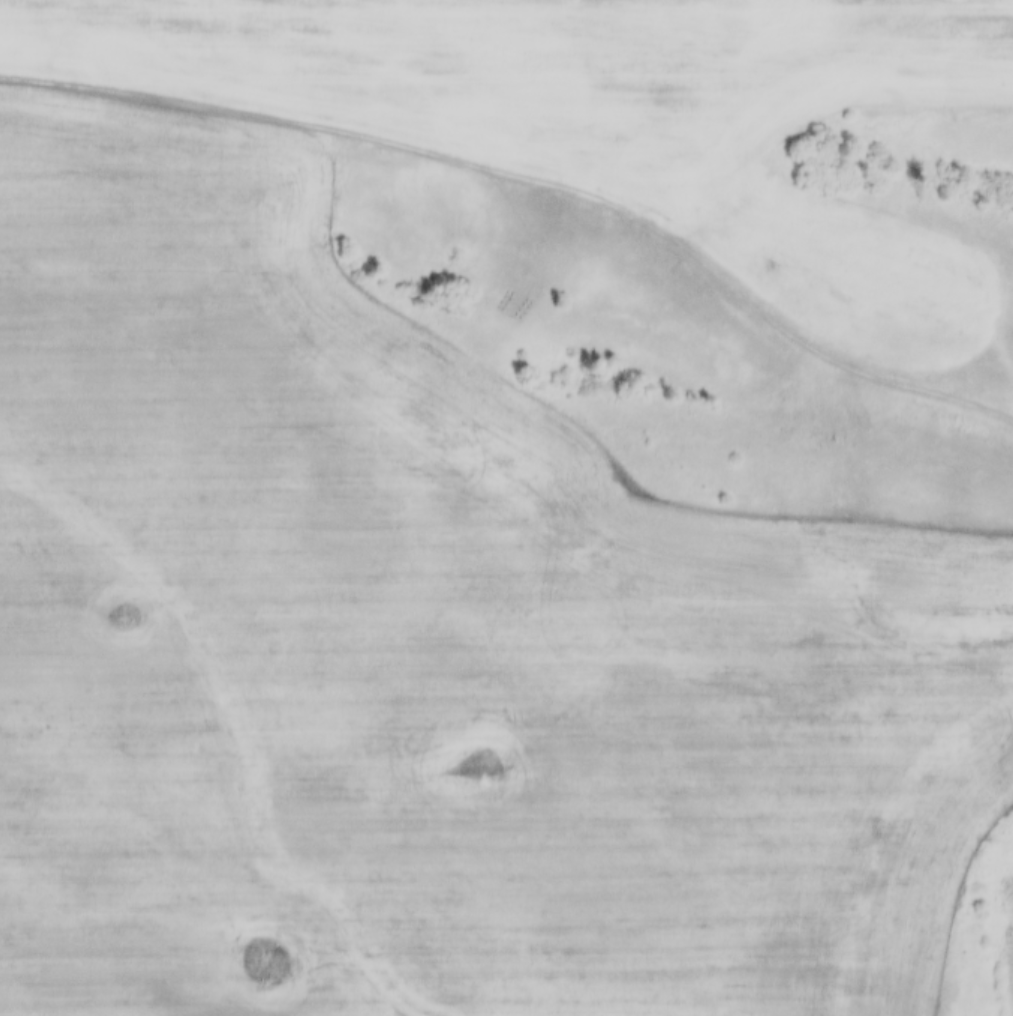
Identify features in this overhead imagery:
road: (532, 174)

